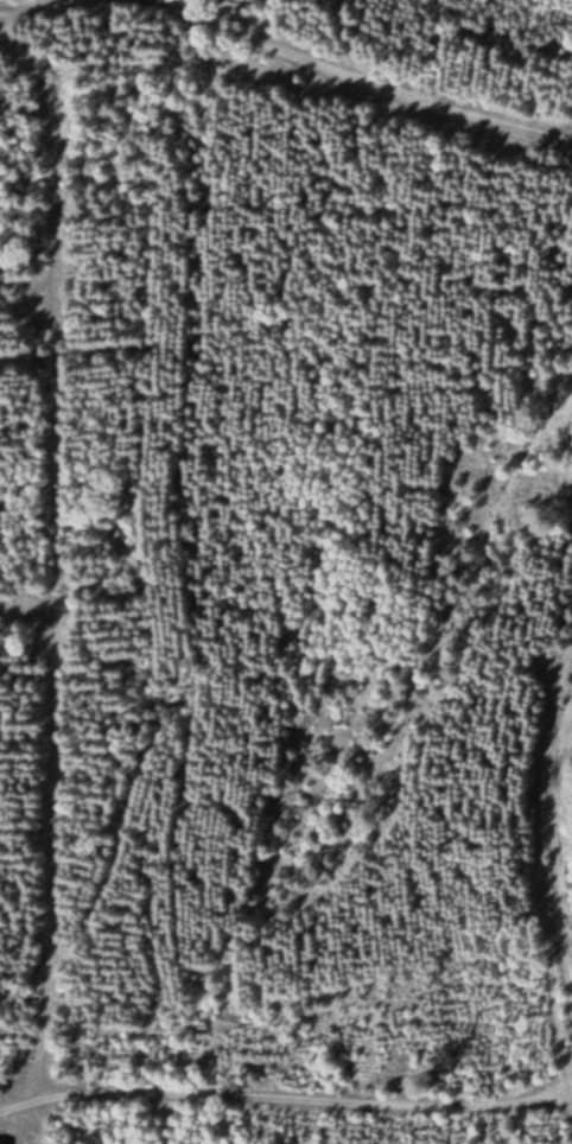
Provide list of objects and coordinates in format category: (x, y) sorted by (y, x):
road: (4, 0)
road: (427, 26)
road: (368, 77)
road: (51, 560)
road: (25, 612)
road: (570, 712)
road: (532, 849)
road: (558, 866)
road: (284, 1097)

